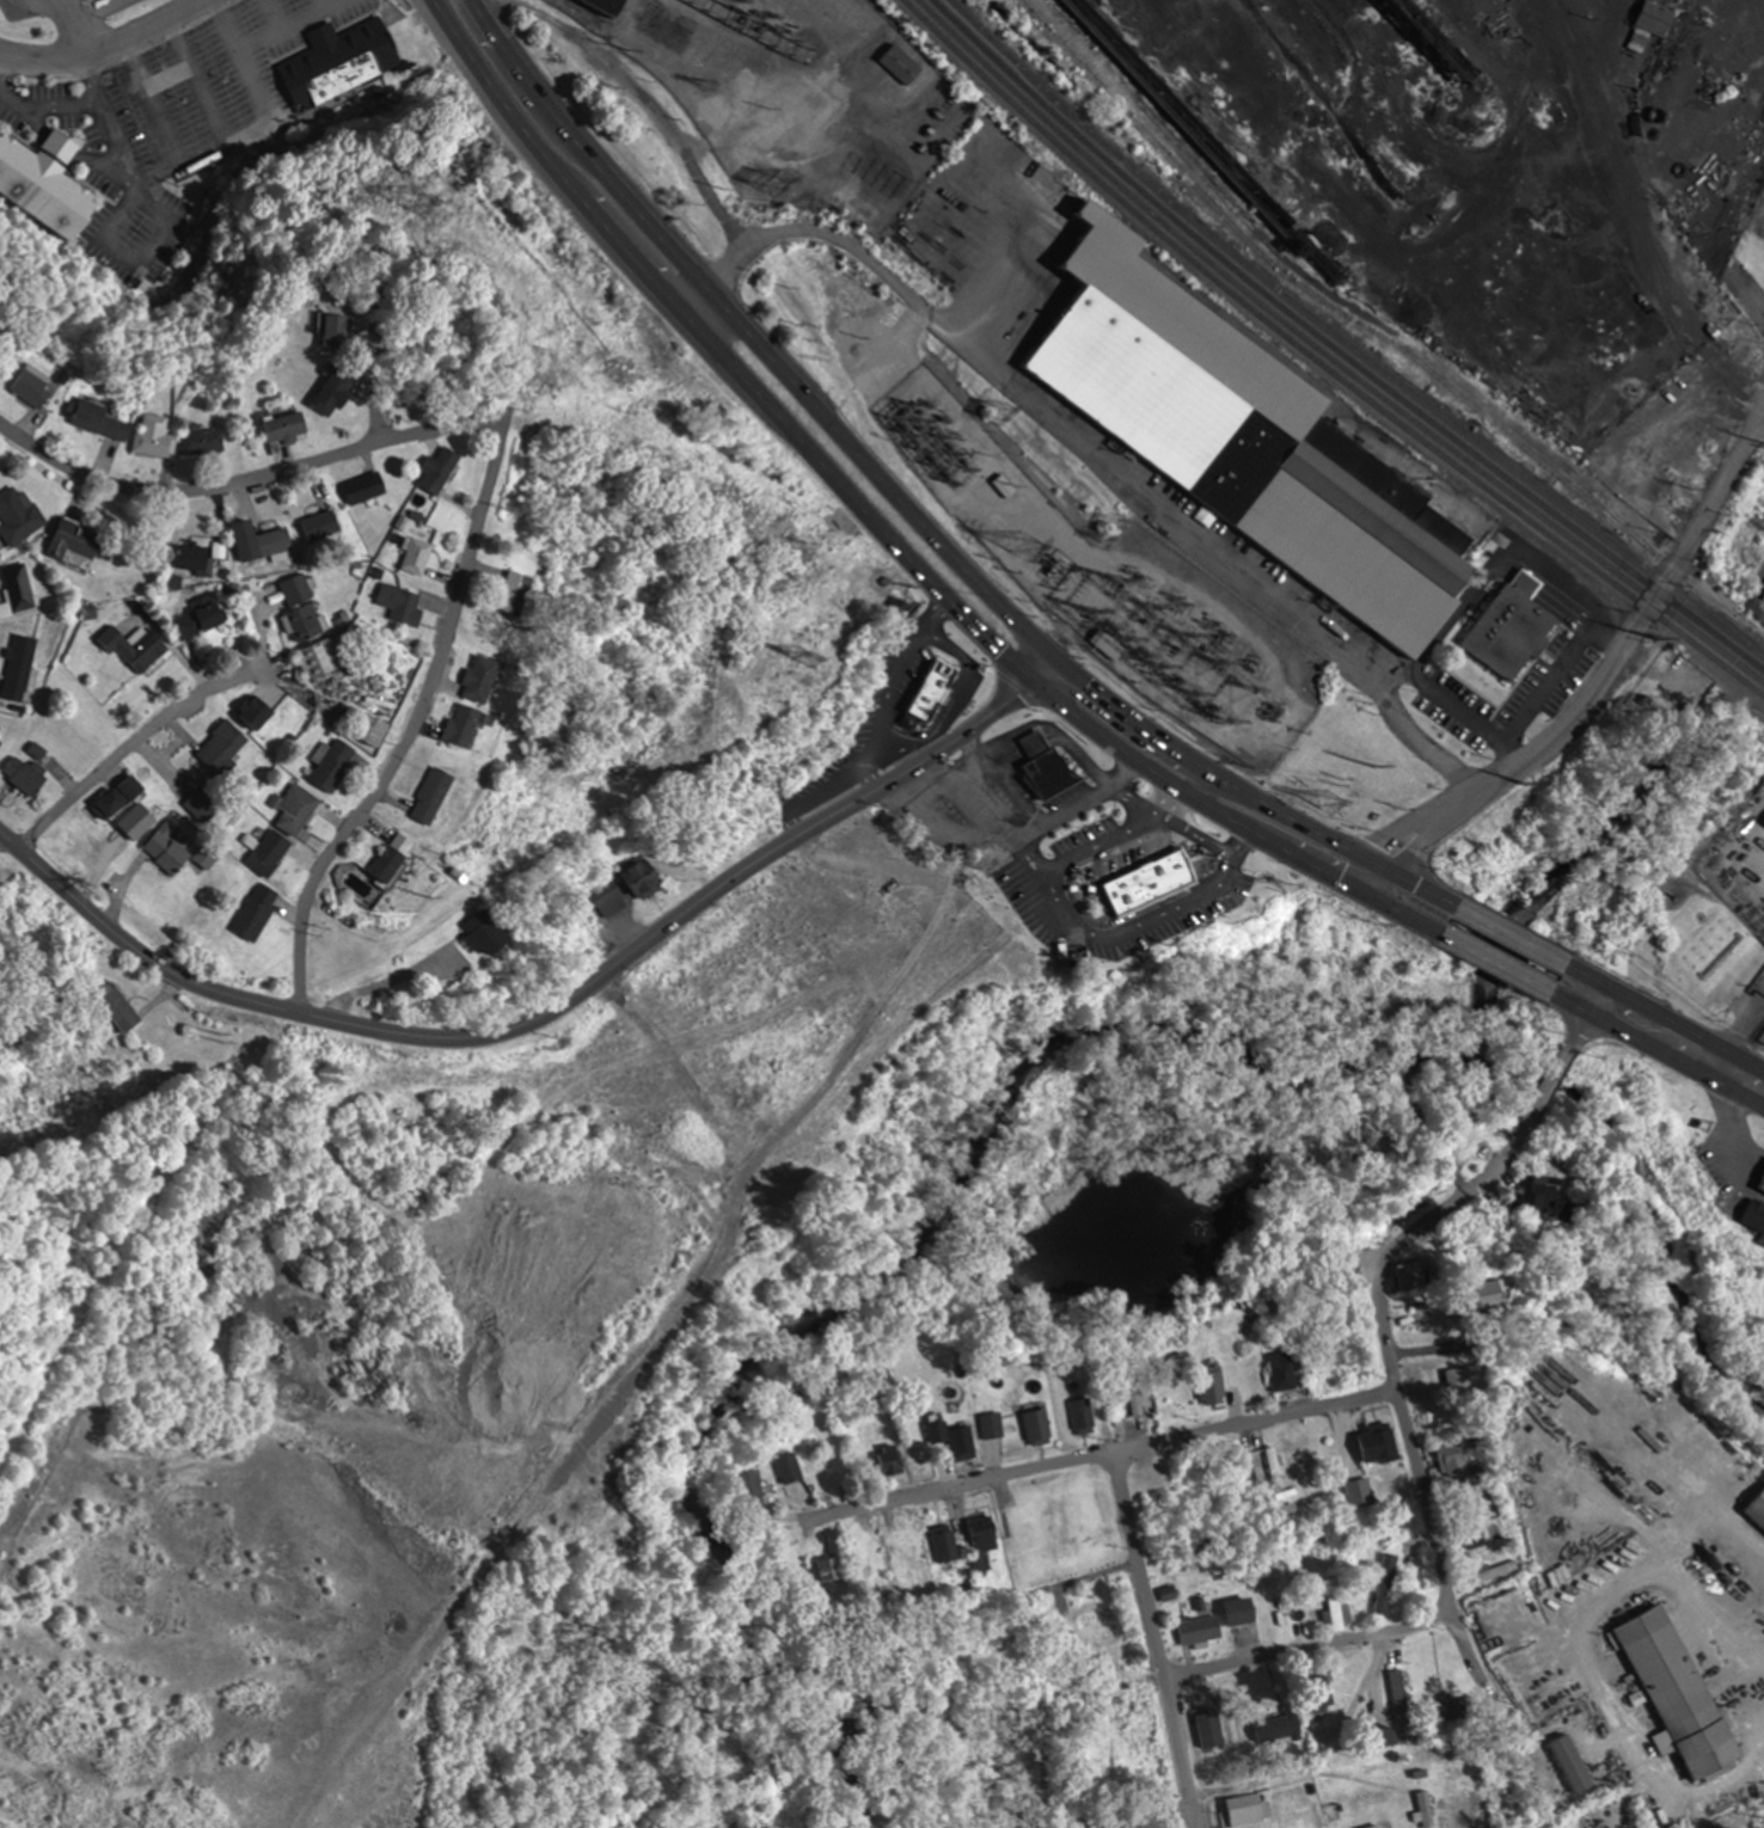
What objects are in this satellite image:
building: (1673, 0)
road: (436, 6)
building: (610, 6)
building: (1654, 18)
road: (99, 43)
building: (337, 55)
building: (901, 65)
building: (49, 177)
power tower: (443, 200)
railway: (1379, 332)
building: (344, 333)
road: (757, 336)
railway: (1346, 341)
railway: (1336, 348)
railway: (1330, 355)
road: (722, 357)
railway: (1323, 361)
road: (373, 364)
building: (36, 387)
road: (1695, 394)
building: (336, 395)
building: (103, 421)
road: (0, 422)
building: (286, 430)
building: (154, 437)
building: (1249, 440)
building: (201, 443)
railway: (1564, 464)
building: (442, 471)
road: (249, 478)
building: (365, 487)
road: (605, 492)
building: (18, 517)
building: (321, 526)
building: (271, 542)
building: (74, 544)
power tower: (1034, 545)
building: (191, 556)
building: (417, 557)
power substation: (1116, 585)
building: (519, 587)
building: (17, 588)
building: (400, 606)
building: (200, 620)
building: (1509, 628)
building: (1107, 644)
building: (136, 649)
building: (321, 657)
traffic signals: (1060, 657)
building: (19, 667)
building: (482, 679)
traffic signals: (1030, 681)
building: (933, 692)
road: (1587, 699)
building: (256, 712)
road: (414, 723)
building: (466, 726)
building: (370, 730)
road: (133, 741)
building: (0, 746)
building: (222, 748)
building: (332, 765)
building: (1051, 773)
building: (435, 798)
building: (117, 800)
building: (203, 805)
power tower: (1334, 805)
building: (298, 812)
building: (169, 849)
building: (272, 853)
building: (208, 857)
building: (394, 858)
building: (1140, 866)
road: (1403, 875)
building: (643, 877)
road: (1388, 909)
building: (258, 913)
building: (488, 934)
traffic signals: (1603, 981)
building: (118, 1004)
road: (552, 1007)
traffic signals: (1585, 1014)
building: (1759, 1178)
building: (1752, 1214)
building: (1413, 1274)
road: (1379, 1298)
building: (1284, 1370)
building: (1468, 1376)
building: (1213, 1385)
building: (1083, 1416)
building: (992, 1425)
building: (1040, 1425)
building: (955, 1440)
building: (1379, 1443)
road: (1100, 1454)
building: (1453, 1455)
building: (816, 1458)
building: (892, 1459)
building: (748, 1484)
building: (1359, 1495)
building: (1757, 1508)
building: (985, 1531)
building: (944, 1544)
building: (1013, 1556)
building: (868, 1565)
building: (827, 1569)
building: (1494, 1571)
building: (1385, 1577)
building: (1336, 1603)
building: (1243, 1611)
building: (1202, 1628)
road: (1156, 1639)
road: (1175, 1675)
building: (1677, 1692)
building: (1399, 1699)
building: (1278, 1724)
building: (1211, 1728)
building: (1573, 1763)
building: (1249, 1809)

